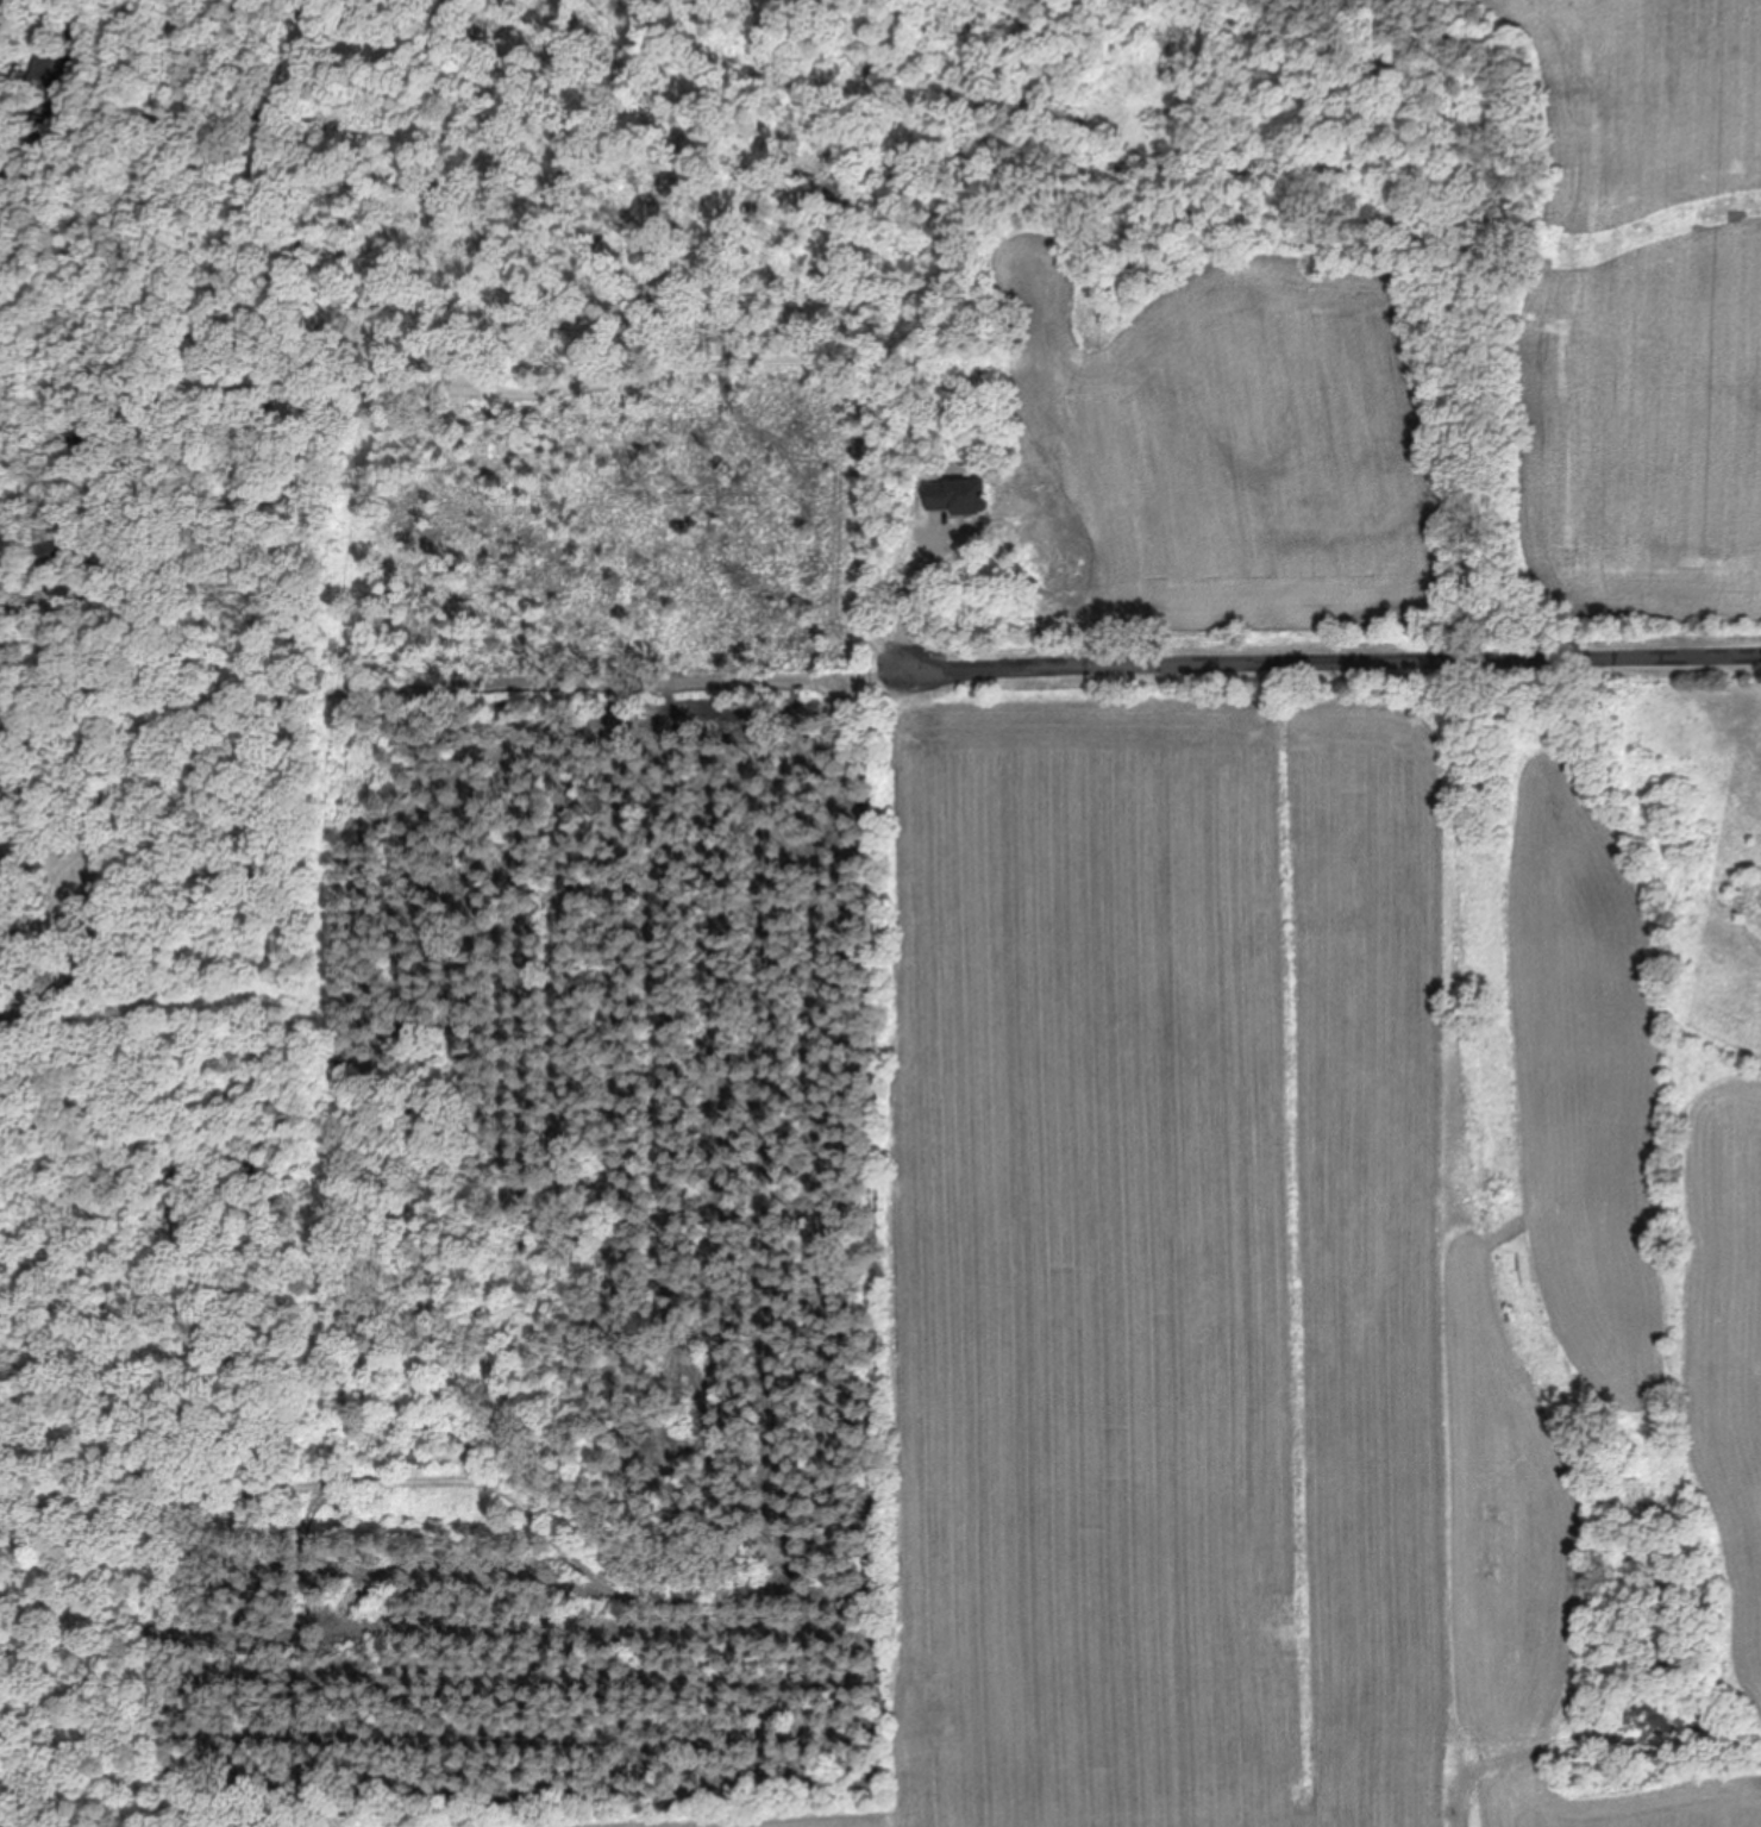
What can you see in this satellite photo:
road: (95, 17)
crop: (1644, 323)
road: (625, 381)
road: (309, 383)
crop: (1159, 450)
road: (1078, 672)
building: (2, 758)
road: (150, 787)
building: (2, 956)
road: (871, 1103)
crop: (1324, 1257)

